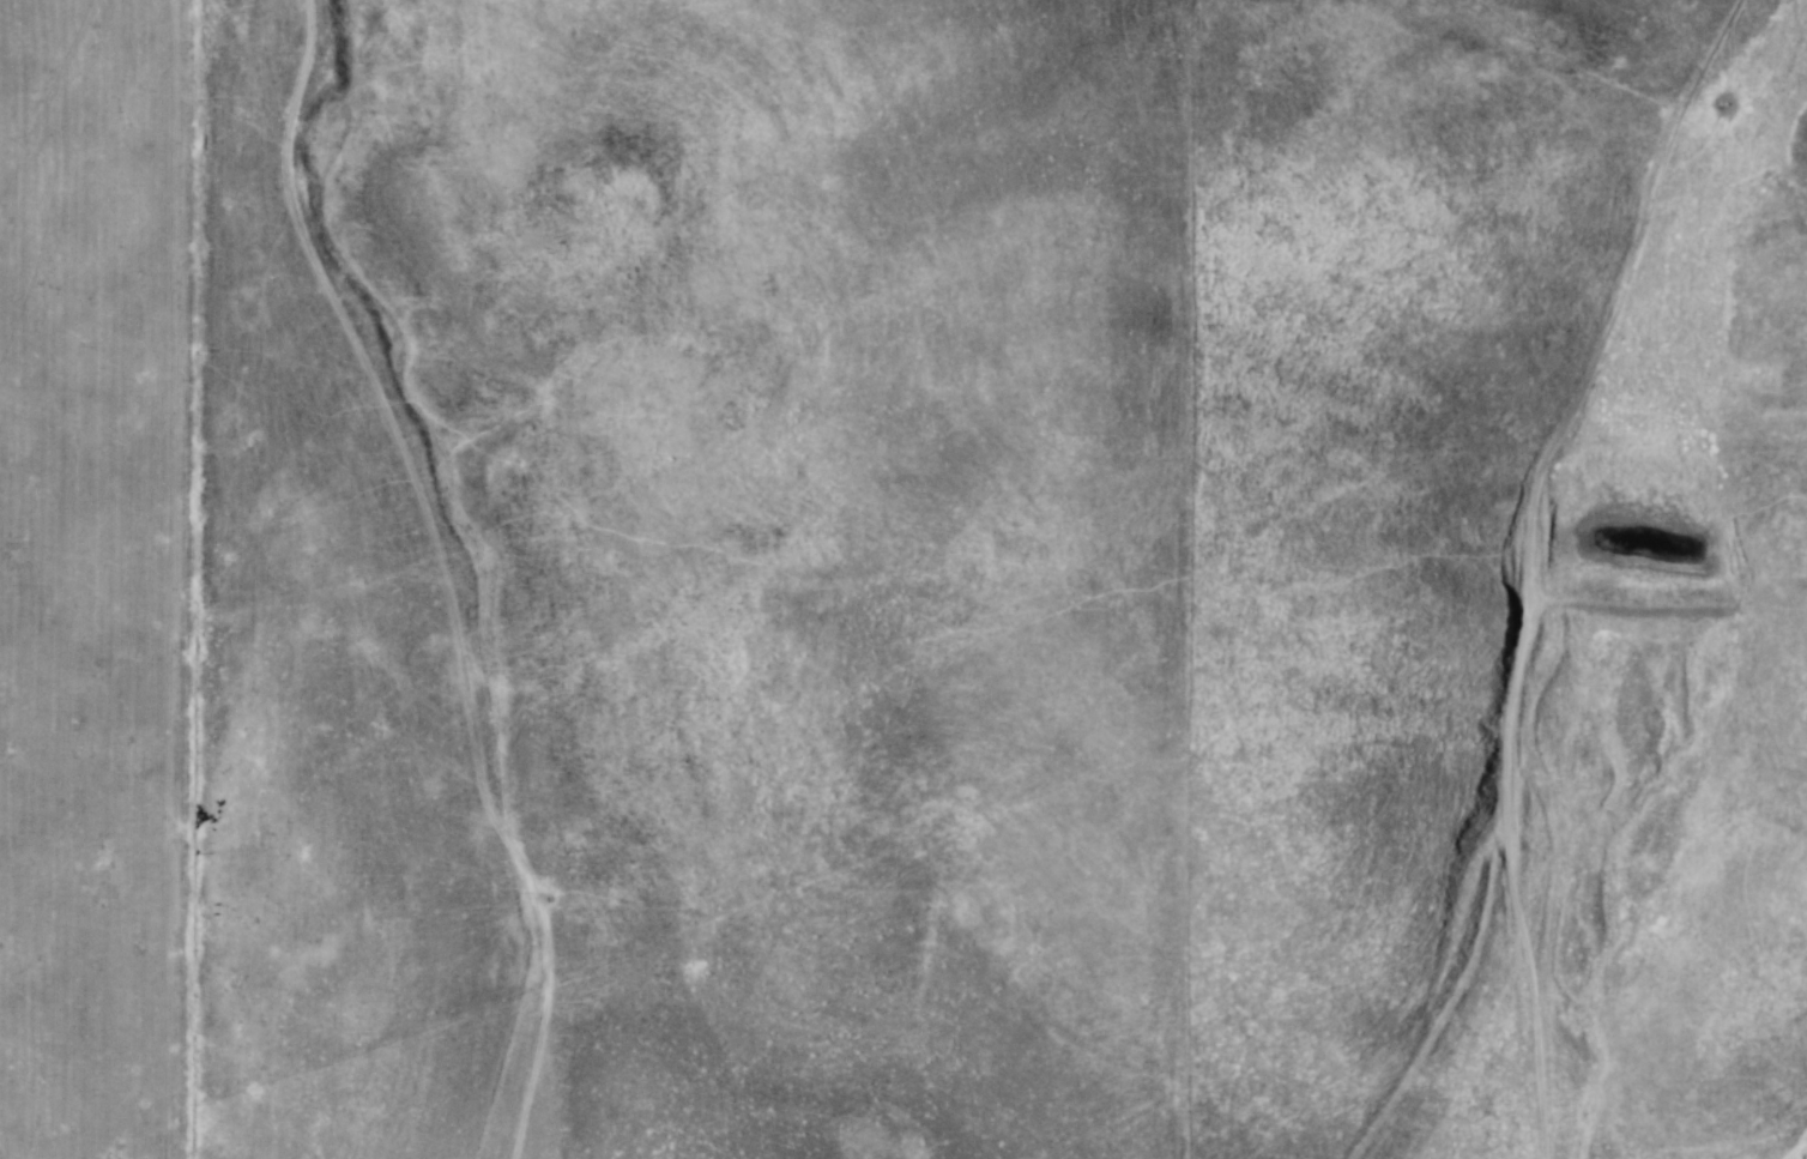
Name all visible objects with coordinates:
crop: (903, 579)

